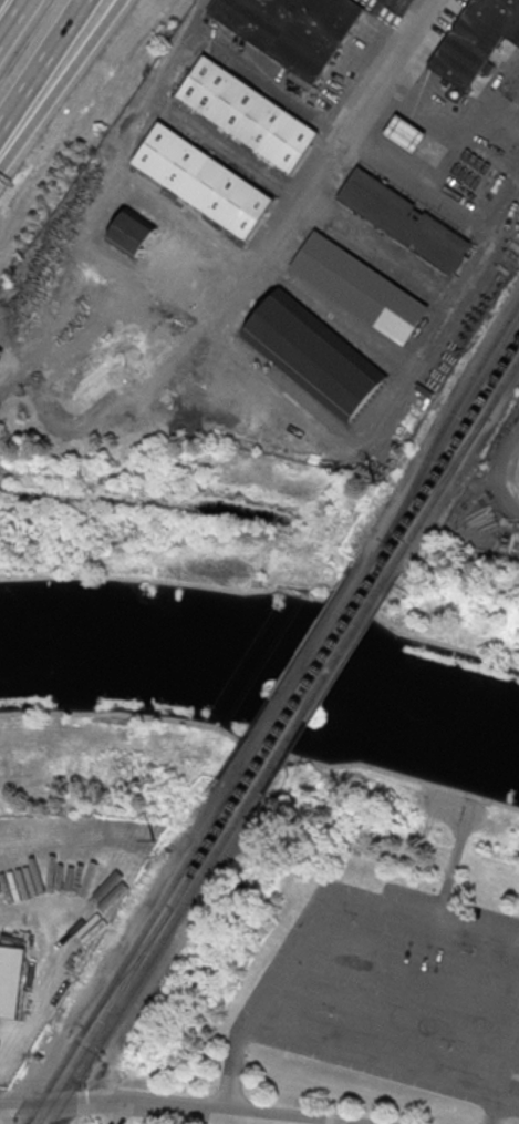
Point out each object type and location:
road: (411, 7)
road: (12, 19)
road: (108, 21)
building: (291, 28)
building: (476, 39)
road: (42, 63)
road: (46, 105)
building: (248, 113)
building: (405, 132)
building: (203, 181)
building: (404, 219)
building: (131, 233)
building: (360, 286)
building: (314, 356)
road: (235, 365)
railway: (448, 420)
railway: (446, 440)
railway: (451, 452)
railway: (456, 464)
road: (508, 474)
railway: (444, 477)
power tower: (377, 484)
river: (263, 675)
railway: (299, 682)
railway: (309, 686)
railway: (319, 689)
park: (261, 789)
power tower: (155, 841)
road: (458, 848)
road: (349, 893)
railway: (124, 963)
railway: (129, 965)
railway: (136, 965)
railway: (147, 968)
building: (11, 981)
parking lot: (397, 992)
road: (232, 1066)
road: (414, 1070)
road: (496, 1096)
road: (32, 1107)
road: (181, 1108)
road: (246, 1121)

